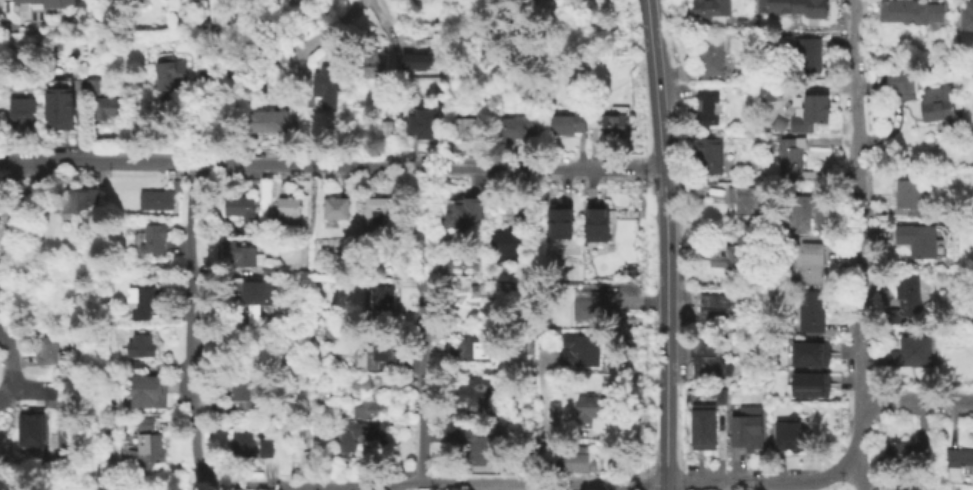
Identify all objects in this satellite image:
building: (316, 0)
building: (304, 2)
building: (63, 3)
building: (108, 3)
building: (771, 6)
building: (808, 7)
building: (709, 10)
building: (889, 10)
building: (920, 11)
building: (965, 14)
building: (740, 19)
building: (809, 53)
road: (286, 55)
building: (710, 57)
building: (373, 64)
building: (170, 75)
building: (900, 83)
building: (93, 88)
building: (324, 88)
building: (770, 92)
building: (938, 103)
building: (710, 108)
building: (110, 109)
building: (61, 110)
building: (24, 113)
building: (812, 113)
building: (616, 118)
building: (594, 119)
building: (268, 120)
building: (566, 122)
building: (427, 124)
building: (471, 126)
building: (517, 127)
road: (196, 131)
building: (709, 156)
road: (200, 158)
building: (791, 159)
road: (331, 164)
building: (911, 196)
building: (79, 198)
building: (744, 200)
building: (820, 200)
building: (157, 201)
building: (290, 208)
building: (241, 209)
building: (337, 209)
building: (383, 212)
building: (466, 212)
building: (795, 214)
building: (560, 222)
road: (424, 225)
building: (597, 225)
road: (855, 230)
building: (156, 240)
building: (918, 240)
building: (507, 244)
road: (667, 244)
building: (243, 255)
building: (725, 256)
building: (811, 262)
road: (10, 263)
road: (193, 292)
building: (905, 300)
building: (144, 301)
building: (258, 305)
building: (384, 305)
building: (600, 307)
building: (715, 309)
building: (812, 311)
building: (328, 334)
building: (304, 342)
building: (141, 346)
building: (383, 348)
building: (474, 348)
building: (51, 350)
building: (582, 351)
building: (911, 352)
building: (808, 353)
building: (710, 360)
building: (362, 382)
road: (424, 384)
building: (808, 384)
building: (146, 393)
building: (475, 393)
building: (247, 394)
road: (914, 400)
building: (372, 409)
building: (590, 411)
building: (147, 425)
building: (30, 427)
building: (703, 429)
building: (67, 431)
building: (747, 432)
building: (790, 433)
building: (363, 434)
building: (478, 443)
building: (252, 446)
building: (153, 447)
building: (908, 452)
road: (198, 453)
building: (579, 460)
building: (959, 464)
road: (854, 473)
road: (759, 482)
road: (440, 484)
building: (909, 484)
road: (214, 485)
road: (478, 487)
road: (296, 488)

